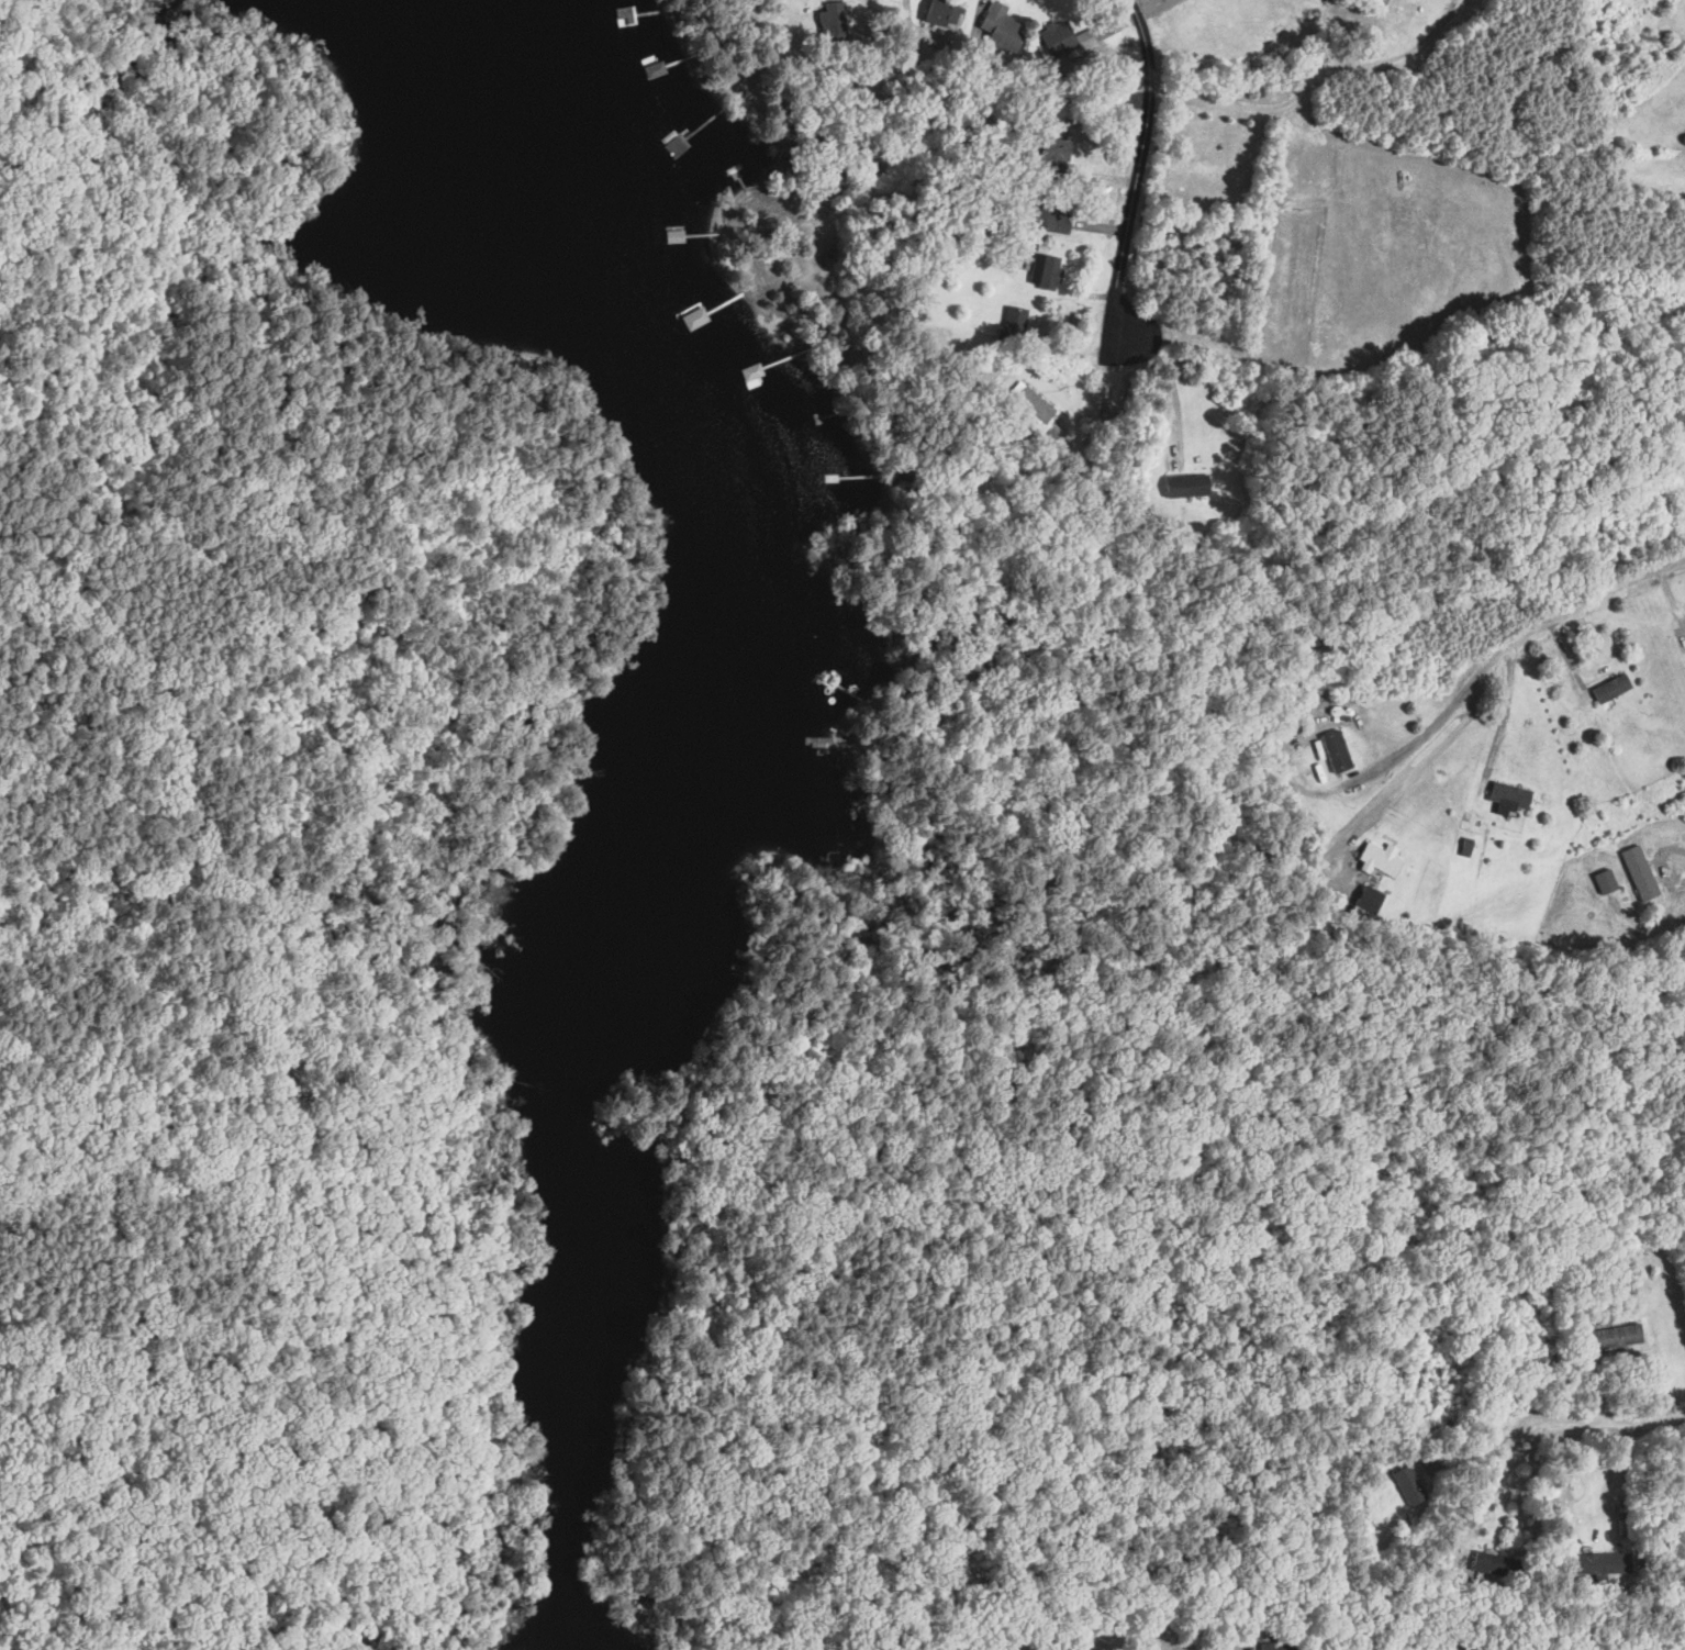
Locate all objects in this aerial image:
building: (946, 14)
building: (836, 21)
building: (1002, 30)
building: (1065, 40)
road: (1310, 82)
building: (646, 83)
road: (1137, 168)
building: (1053, 218)
building: (1048, 272)
building: (1014, 326)
park: (255, 332)
road: (1178, 375)
building: (1031, 405)
building: (1191, 486)
road: (1594, 598)
building: (1614, 688)
building: (1513, 795)
building: (1382, 859)
building: (1642, 873)
building: (1607, 882)
road: (1682, 888)
building: (1370, 898)
building: (1617, 1337)
road: (1603, 1420)
road: (1473, 1450)
building: (1410, 1486)
road: (1496, 1486)
building: (1606, 1564)
building: (1502, 1567)
road: (1102, 1630)
building: (970, 1645)
building: (1281, 1646)
road: (1203, 1648)

